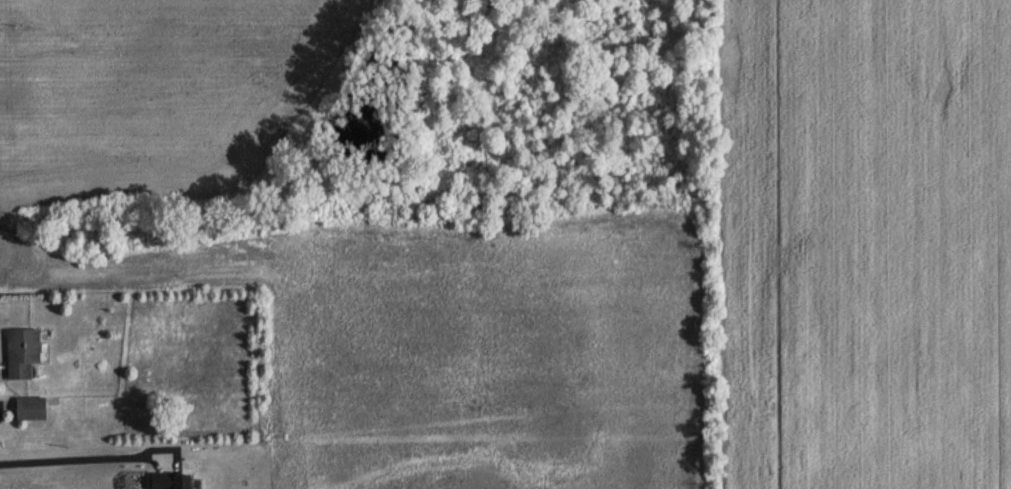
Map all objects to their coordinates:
building: (25, 353)
building: (32, 409)
road: (72, 458)

